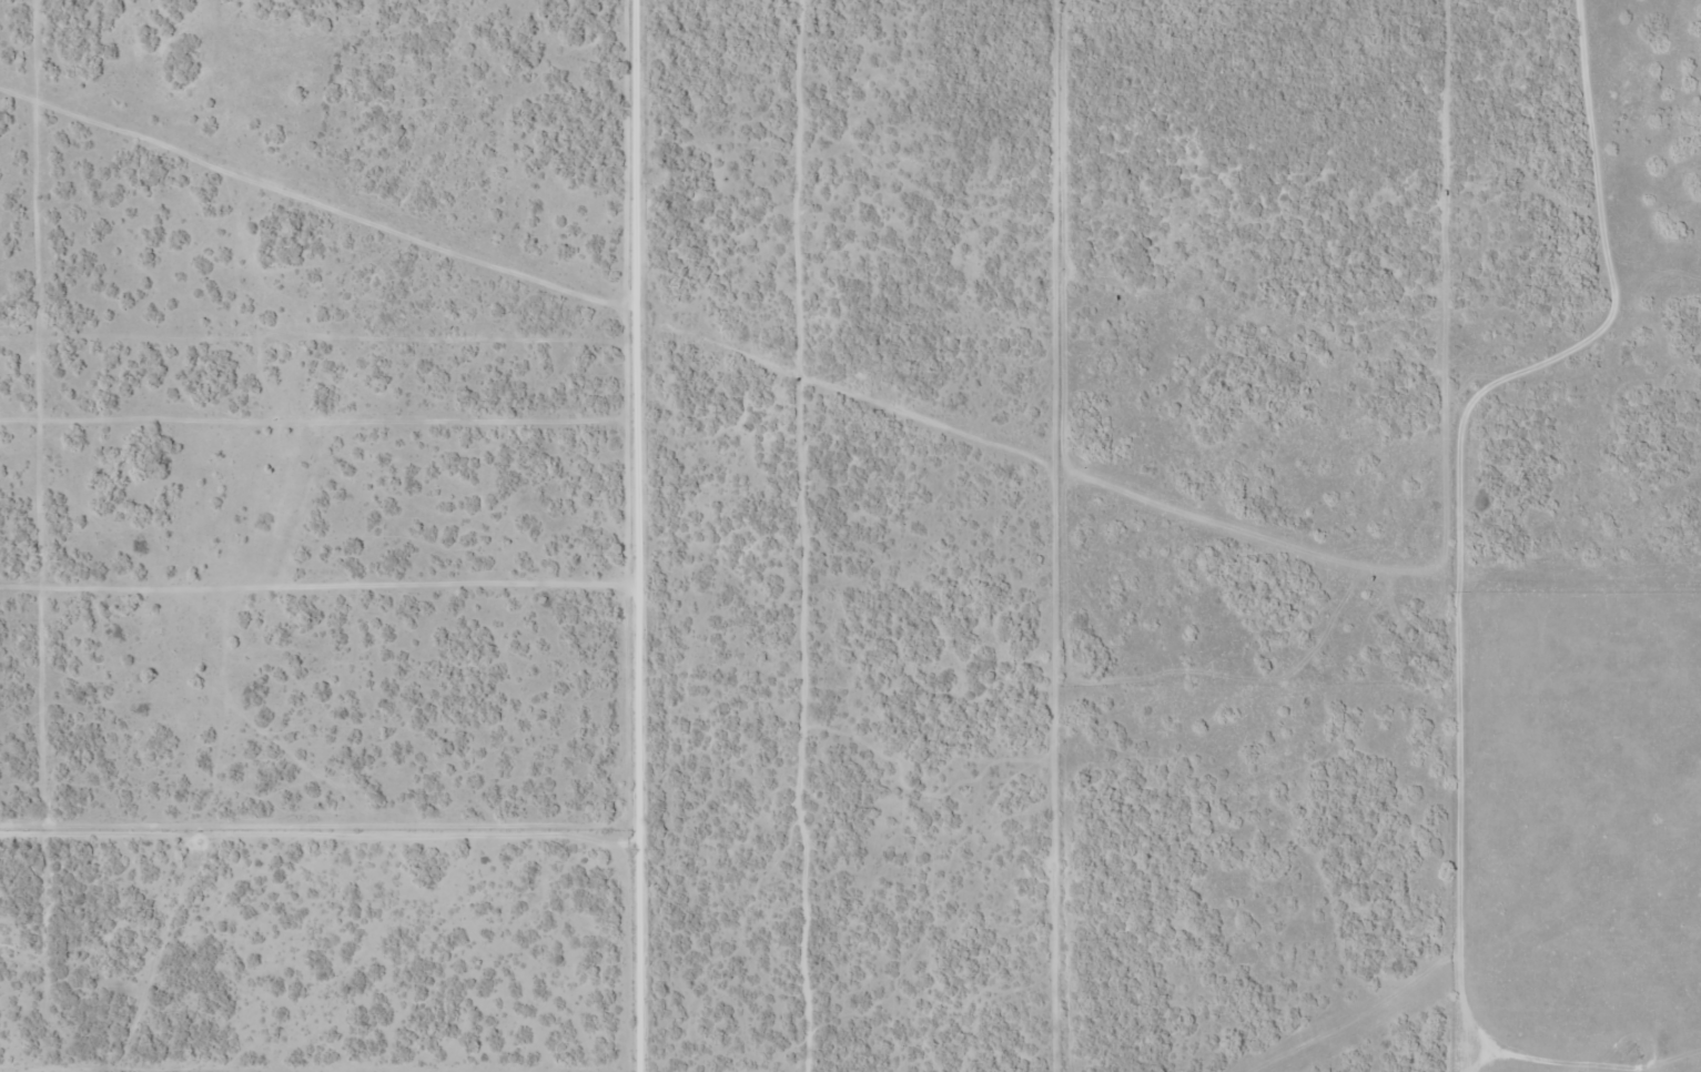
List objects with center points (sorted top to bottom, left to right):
road: (645, 536)

